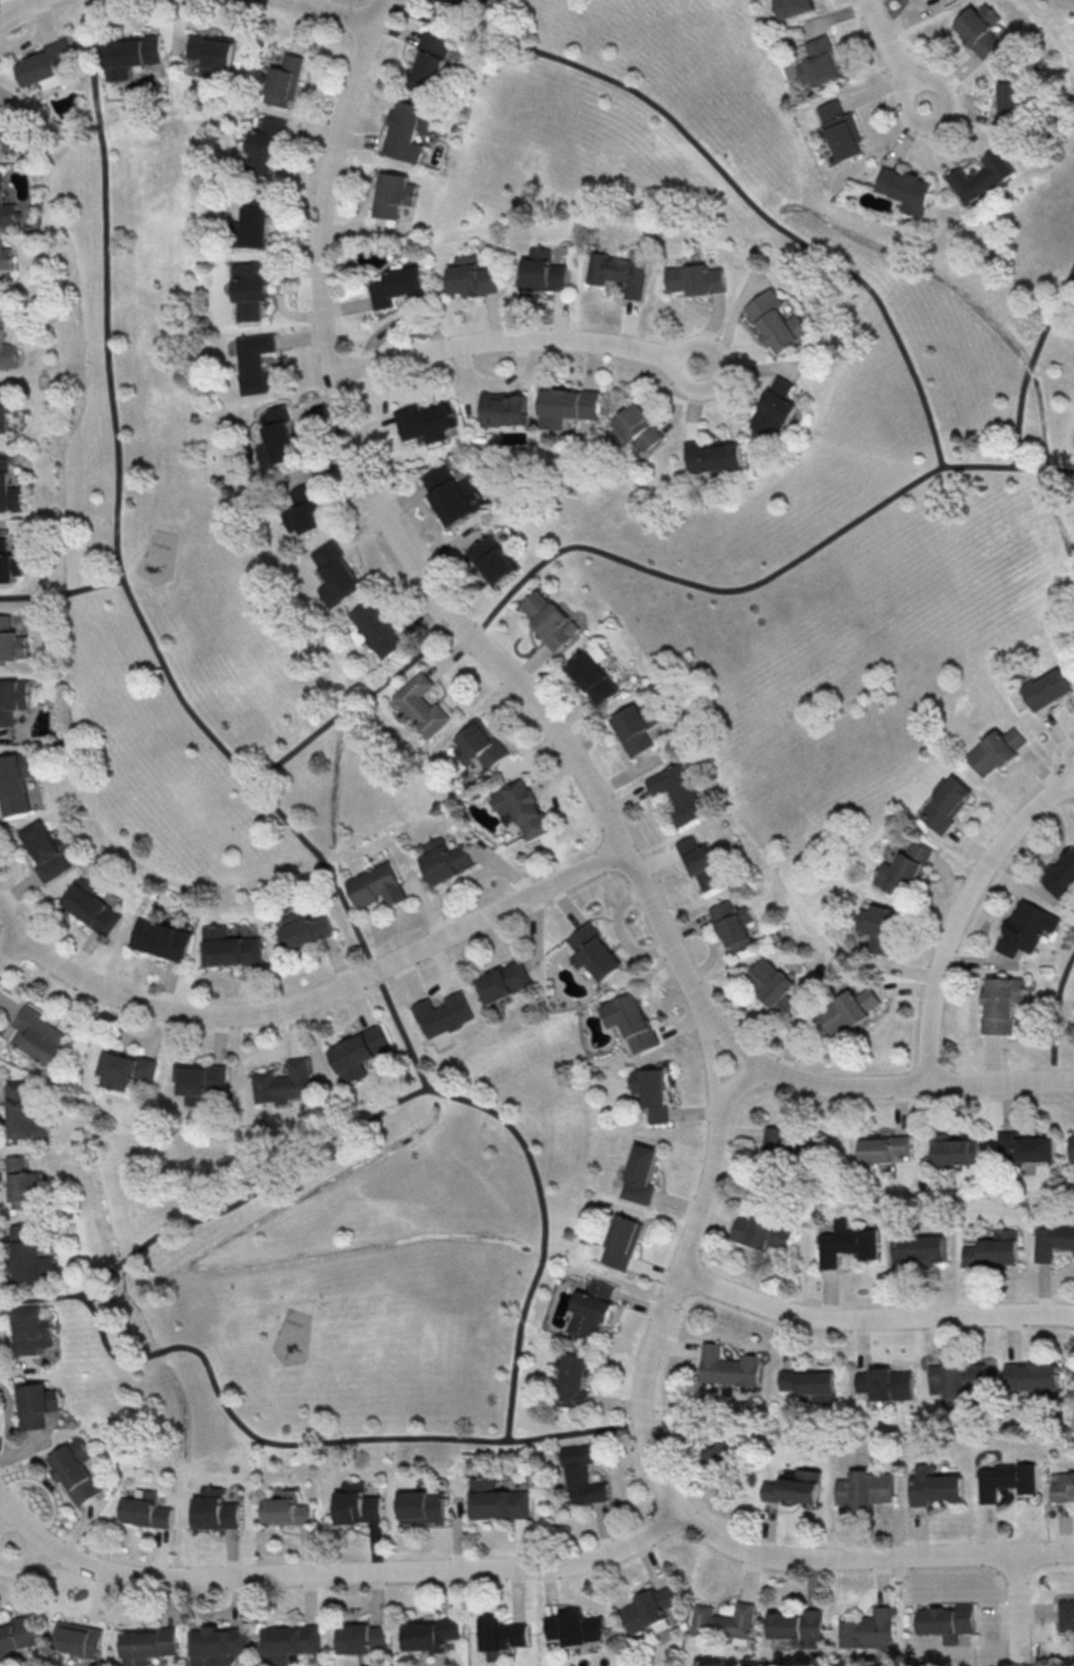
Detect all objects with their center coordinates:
building: (458, 3)
road: (12, 6)
building: (792, 8)
road: (335, 10)
building: (979, 28)
building: (212, 53)
road: (891, 53)
building: (130, 54)
building: (429, 62)
building: (819, 62)
building: (46, 65)
building: (284, 80)
building: (1012, 99)
building: (407, 130)
building: (841, 130)
building: (8, 139)
building: (265, 148)
road: (719, 170)
building: (981, 177)
building: (907, 189)
building: (391, 194)
building: (7, 209)
building: (256, 226)
building: (6, 257)
building: (541, 270)
building: (620, 272)
building: (470, 276)
building: (695, 278)
building: (397, 286)
building: (250, 289)
building: (776, 321)
road: (514, 338)
building: (7, 348)
road: (1031, 361)
building: (255, 363)
building: (4, 407)
building: (567, 408)
building: (774, 408)
building: (503, 410)
building: (424, 424)
building: (634, 428)
building: (278, 438)
building: (712, 455)
building: (9, 488)
building: (451, 494)
building: (305, 510)
building: (490, 559)
building: (9, 563)
road: (637, 567)
building: (336, 573)
road: (127, 586)
road: (61, 592)
building: (547, 619)
building: (375, 628)
building: (10, 642)
building: (590, 677)
building: (1047, 688)
road: (524, 693)
building: (12, 698)
building: (421, 705)
building: (632, 727)
park: (208, 728)
building: (478, 745)
building: (996, 750)
building: (14, 782)
building: (676, 792)
building: (946, 802)
building: (520, 807)
building: (47, 851)
building: (444, 860)
building: (699, 862)
building: (902, 870)
building: (1060, 875)
building: (377, 885)
building: (90, 904)
road: (959, 914)
building: (733, 925)
building: (879, 926)
building: (1026, 928)
building: (302, 929)
building: (160, 939)
road: (10, 945)
building: (230, 946)
building: (594, 952)
building: (504, 981)
building: (772, 984)
road: (310, 998)
building: (1002, 1003)
building: (847, 1009)
park: (1055, 1012)
building: (444, 1014)
road: (1054, 1015)
building: (630, 1021)
building: (39, 1037)
building: (359, 1052)
building: (126, 1069)
building: (200, 1081)
building: (285, 1082)
road: (737, 1082)
building: (652, 1091)
road: (396, 1101)
building: (26, 1111)
building: (883, 1147)
building: (1024, 1147)
building: (1071, 1148)
building: (954, 1150)
building: (639, 1174)
building: (26, 1184)
building: (762, 1232)
building: (1052, 1240)
building: (621, 1241)
building: (846, 1242)
building: (919, 1248)
building: (994, 1249)
building: (30, 1255)
building: (591, 1309)
road: (872, 1318)
building: (32, 1330)
building: (727, 1366)
building: (1033, 1378)
building: (575, 1380)
building: (957, 1382)
building: (811, 1384)
building: (885, 1384)
building: (36, 1404)
road: (316, 1441)
building: (722, 1456)
road: (652, 1459)
building: (76, 1469)
building: (581, 1475)
building: (1005, 1479)
building: (933, 1486)
building: (1062, 1486)
building: (794, 1487)
building: (864, 1488)
building: (497, 1500)
building: (358, 1504)
building: (422, 1507)
building: (145, 1509)
building: (216, 1509)
building: (286, 1509)
road: (6, 1516)
road: (27, 1564)
road: (332, 1571)
road: (1016, 1607)
building: (647, 1608)
building: (1065, 1616)
building: (723, 1620)
building: (946, 1622)
building: (797, 1626)
building: (575, 1627)
building: (868, 1629)
building: (429, 1633)
building: (17, 1634)
building: (500, 1636)
building: (78, 1638)
building: (361, 1638)
building: (289, 1643)
building: (148, 1644)
building: (218, 1645)

